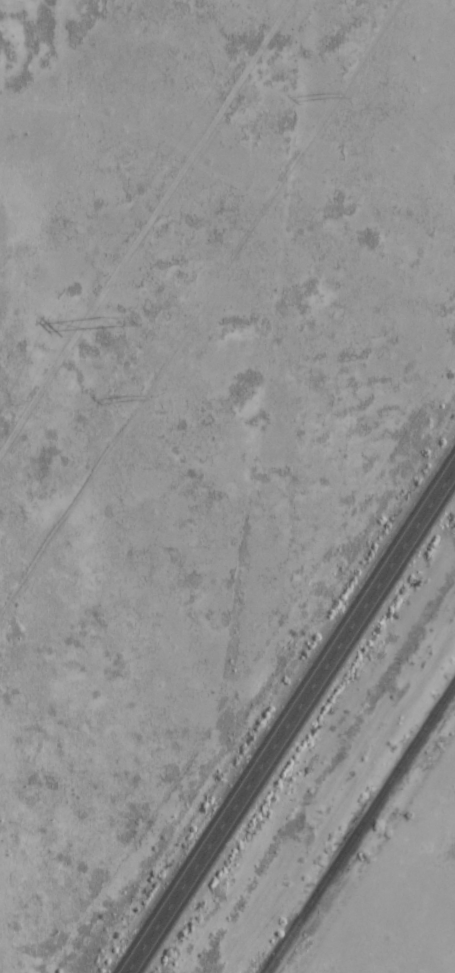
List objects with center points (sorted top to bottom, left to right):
power tower: (99, 318)
road: (288, 716)
railway: (358, 825)

